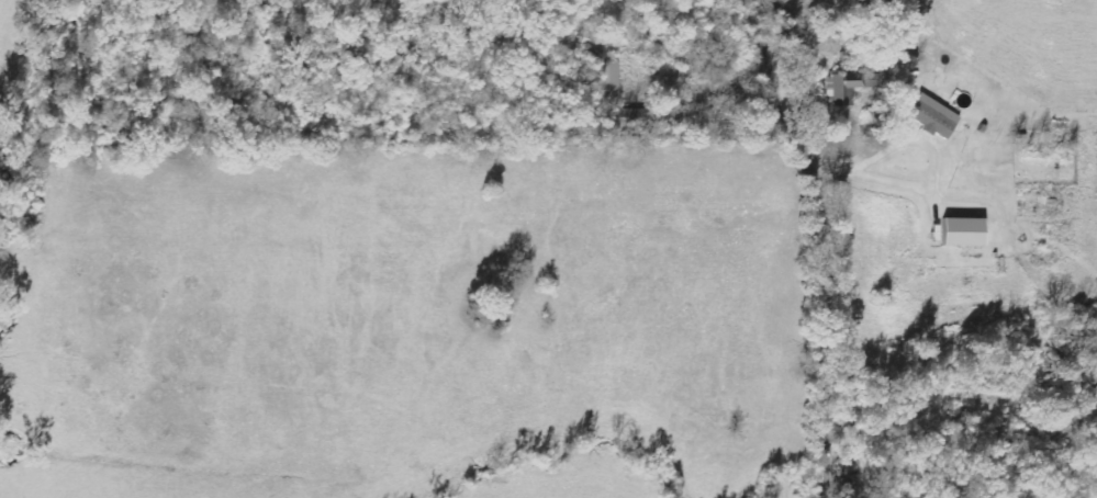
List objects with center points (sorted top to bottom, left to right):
building: (608, 79)
building: (846, 88)
building: (930, 116)
building: (960, 233)
road: (835, 244)

